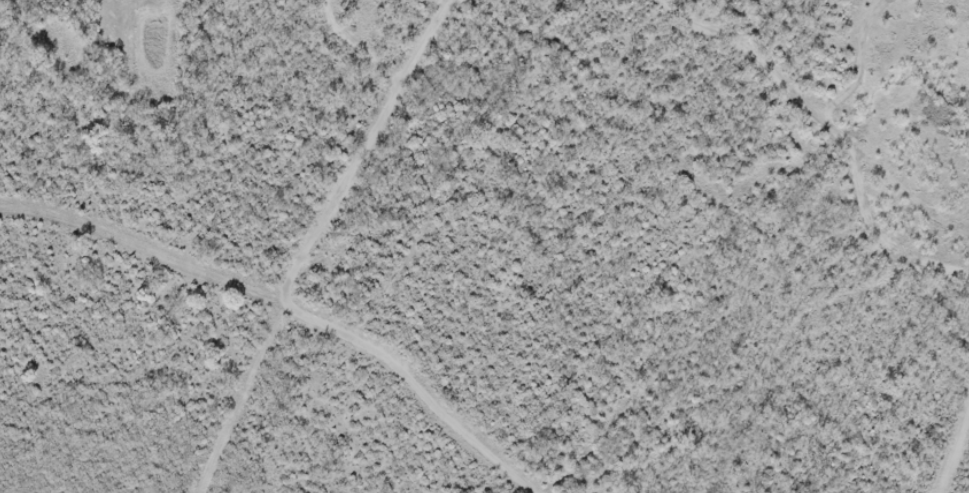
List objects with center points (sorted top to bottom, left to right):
road: (338, 243)

